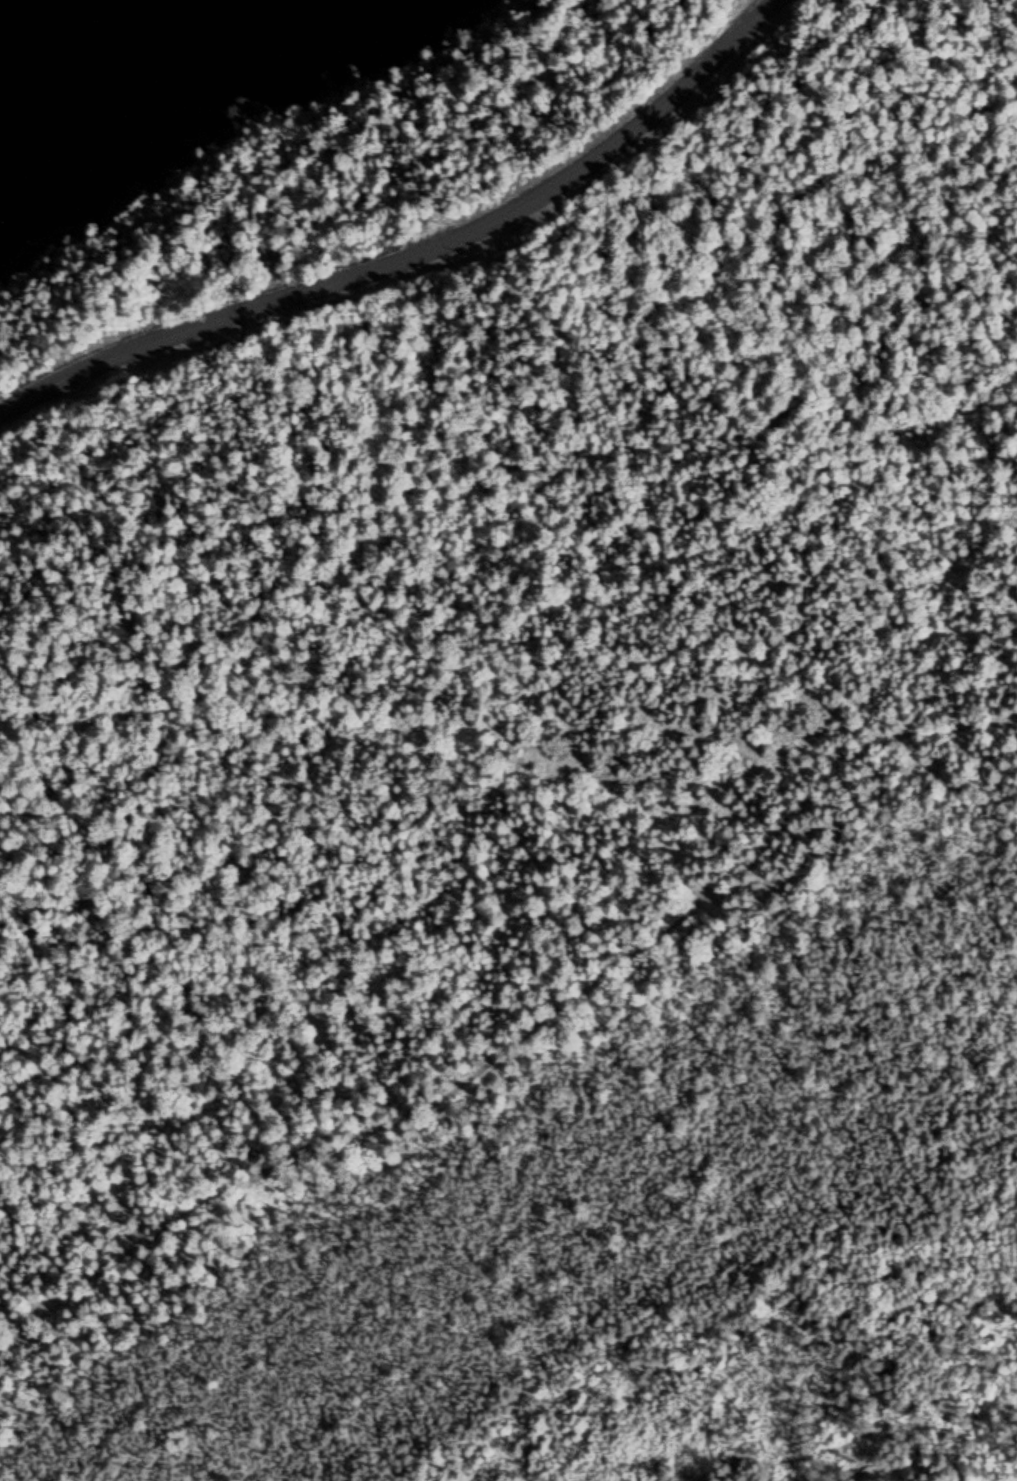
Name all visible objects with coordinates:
road: (418, 258)

